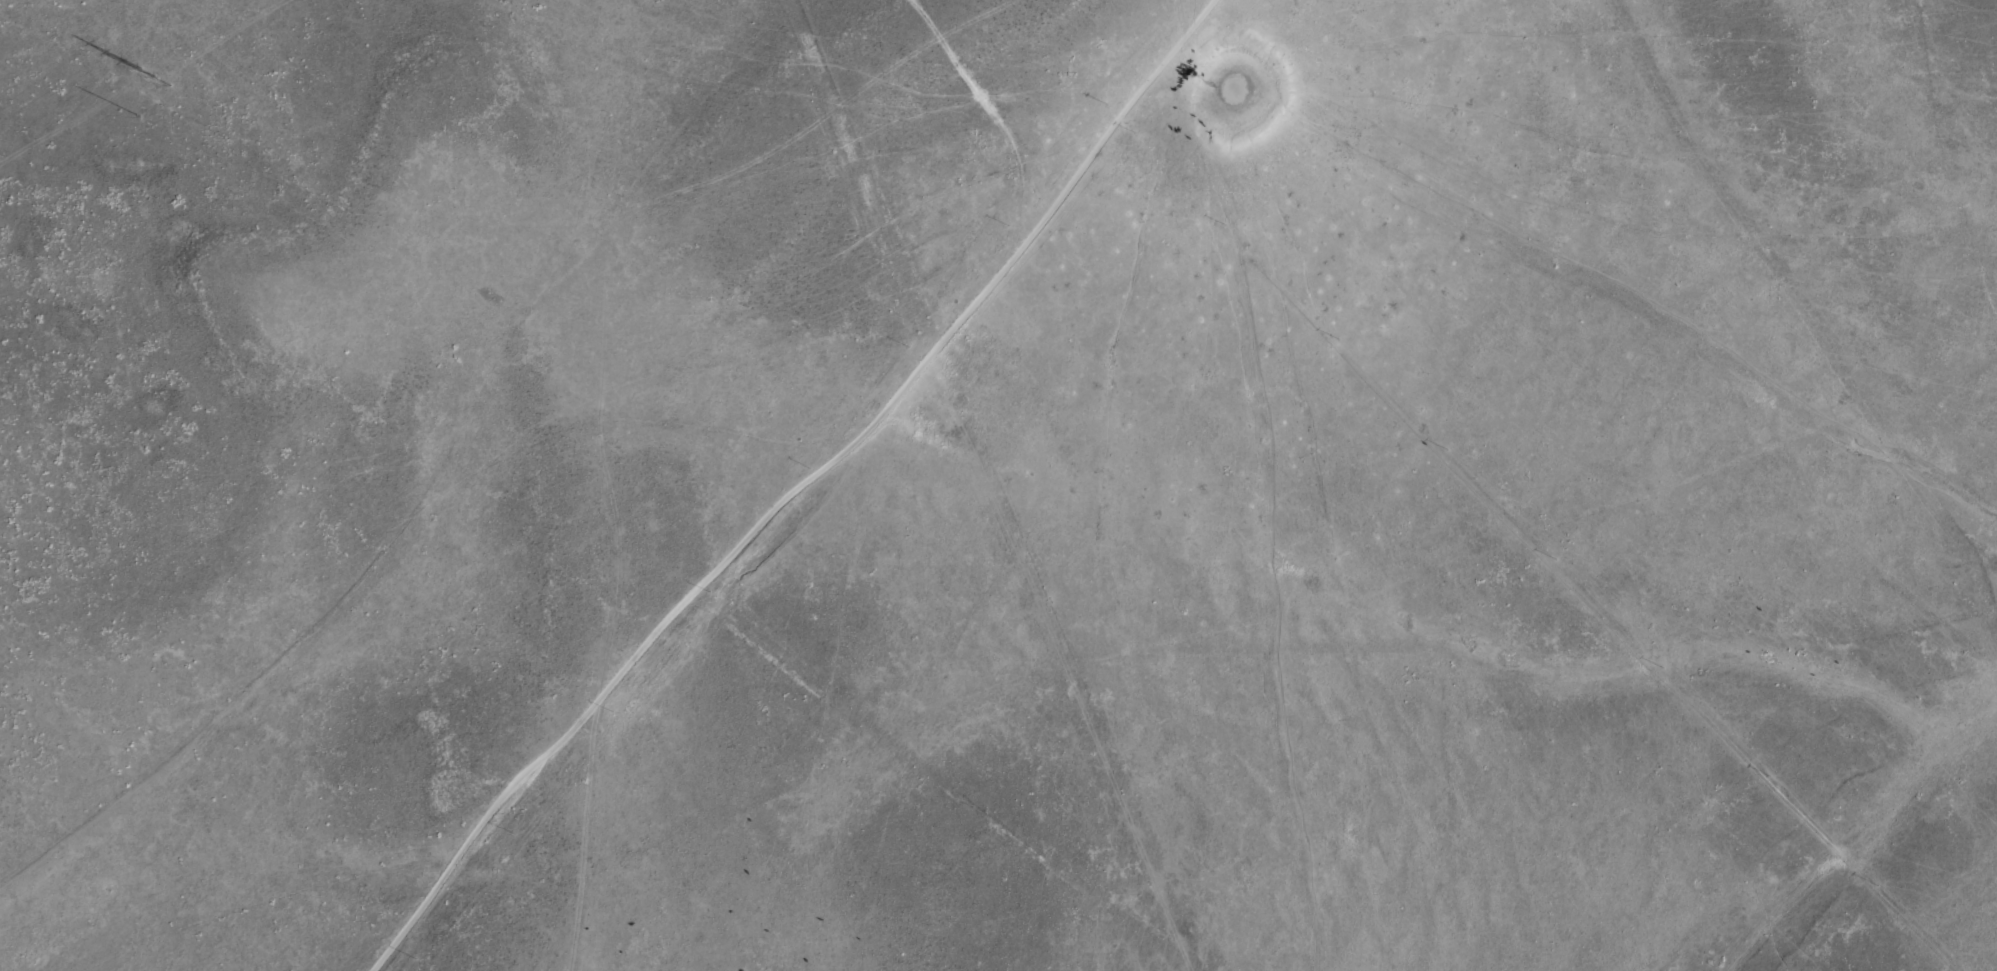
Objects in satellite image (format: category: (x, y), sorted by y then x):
power tower: (154, 71)
road: (977, 85)
road: (963, 303)
road: (1829, 307)
road: (742, 629)

